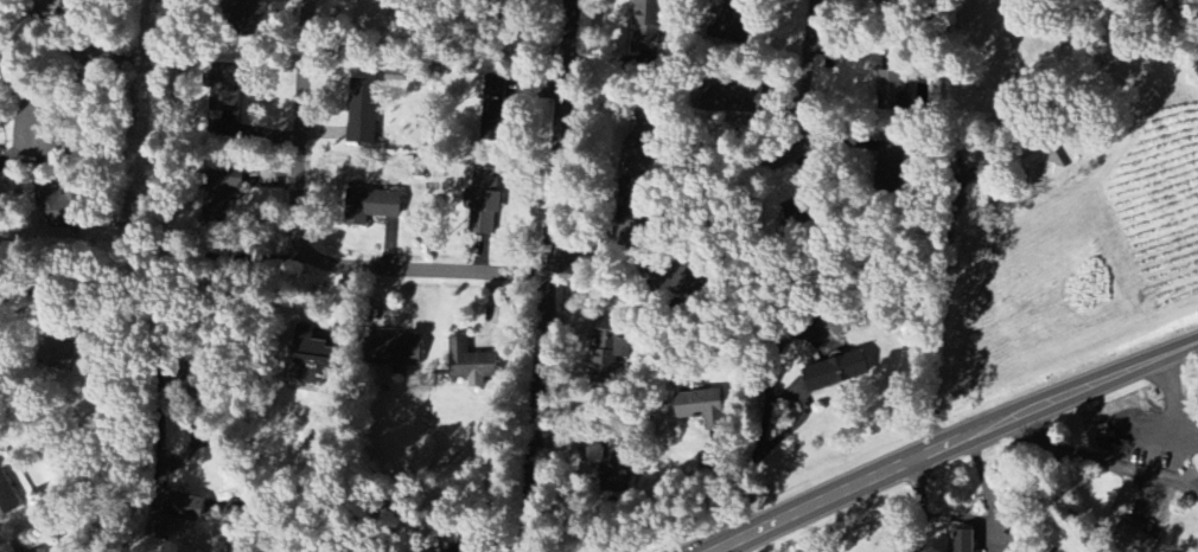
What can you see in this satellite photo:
building: (372, 17)
building: (246, 20)
building: (646, 26)
building: (225, 86)
building: (893, 91)
road: (20, 96)
building: (732, 100)
building: (493, 110)
building: (363, 111)
building: (1044, 166)
building: (0, 178)
road: (743, 181)
building: (0, 195)
building: (222, 199)
building: (484, 201)
building: (372, 205)
building: (58, 207)
road: (294, 259)
road: (547, 275)
building: (688, 281)
building: (613, 347)
building: (56, 352)
building: (399, 352)
building: (314, 364)
building: (471, 365)
building: (836, 371)
road: (117, 390)
road: (1172, 398)
building: (702, 409)
road: (955, 443)
road: (1103, 461)
building: (1196, 462)
building: (616, 468)
building: (7, 498)
road: (906, 507)
building: (172, 513)
building: (964, 540)
building: (471, 551)

